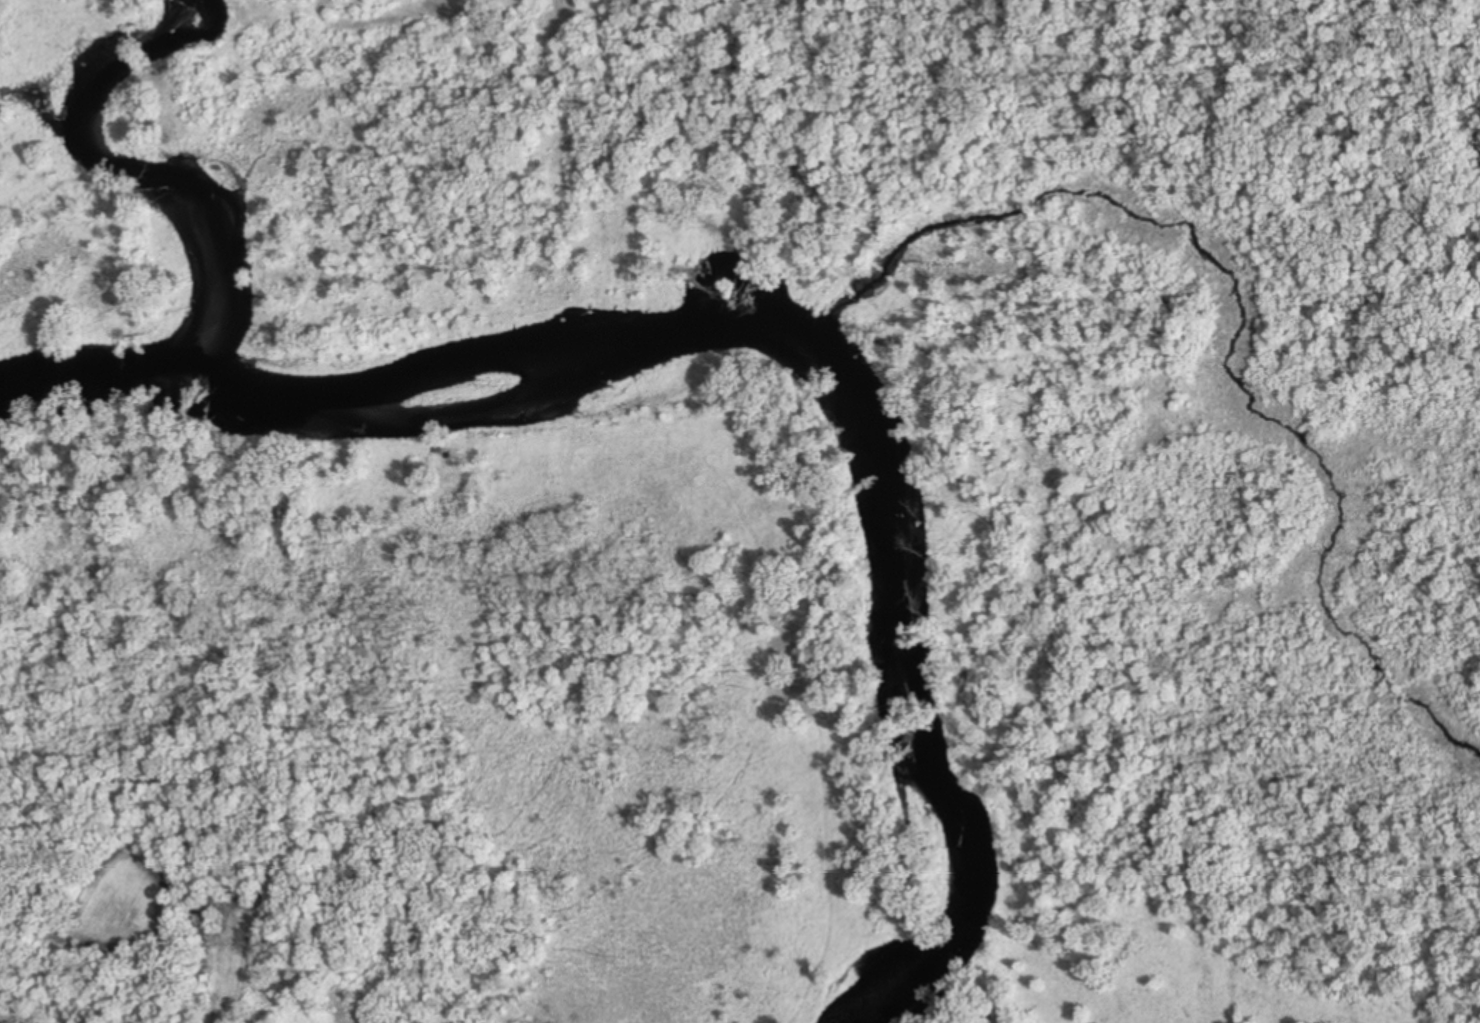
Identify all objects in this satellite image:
river: (512, 355)
river: (106, 384)
river: (911, 702)

